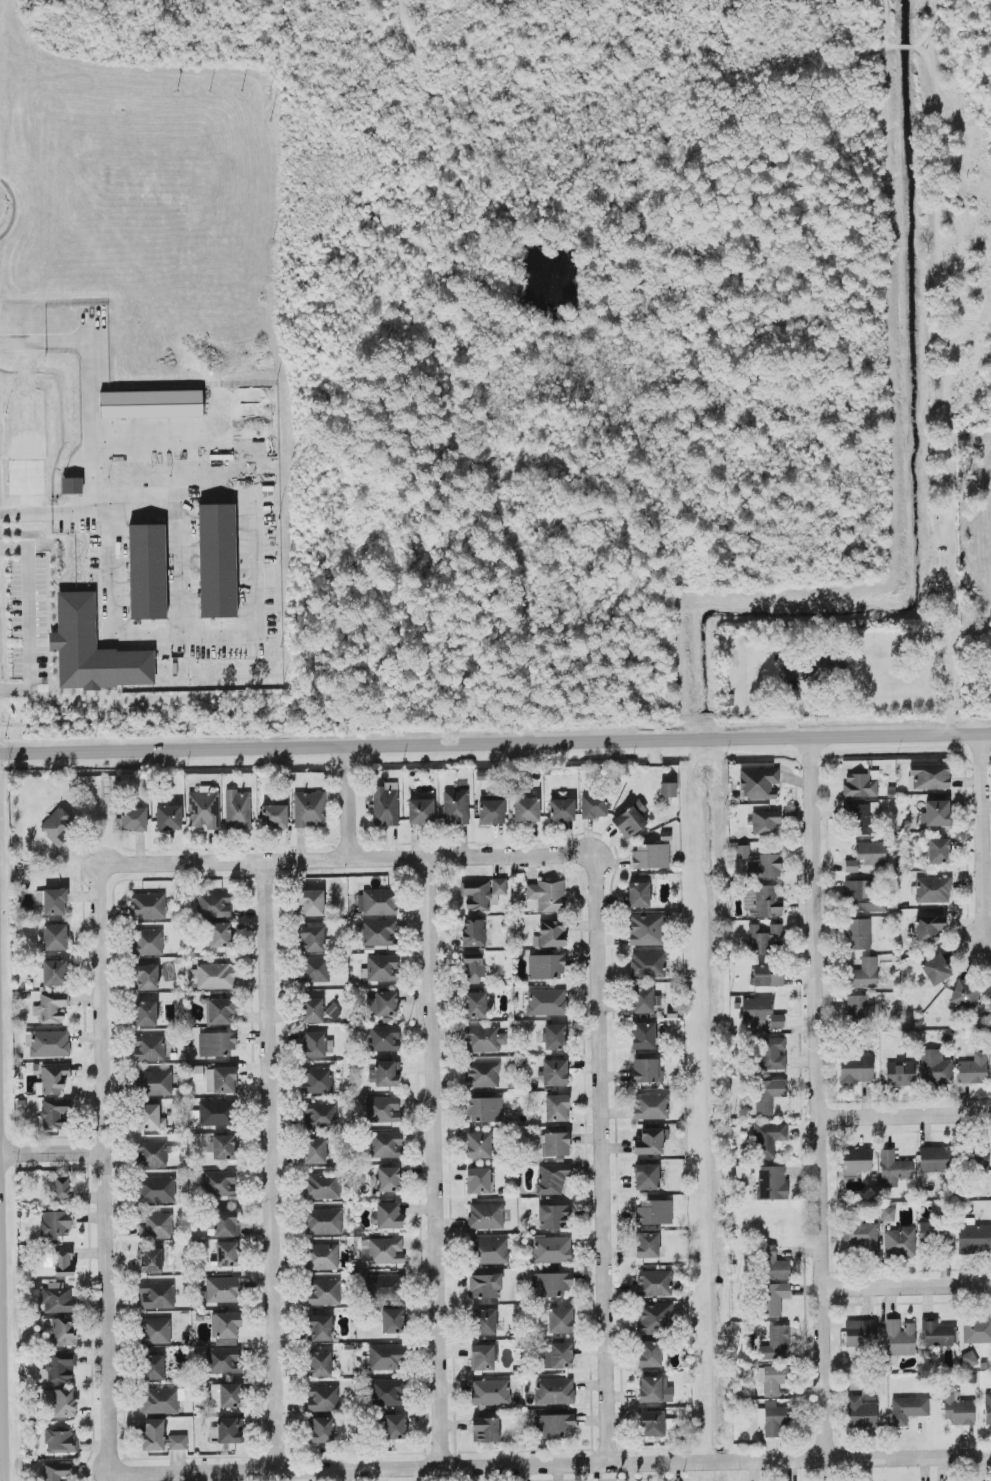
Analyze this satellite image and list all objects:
road: (937, 215)
park: (955, 332)
building: (151, 404)
road: (92, 430)
road: (143, 432)
building: (72, 485)
building: (217, 560)
building: (147, 571)
road: (953, 583)
road: (114, 601)
road: (28, 617)
road: (180, 628)
building: (93, 649)
road: (495, 741)
building: (930, 776)
building: (758, 783)
building: (860, 784)
building: (668, 789)
road: (348, 802)
building: (385, 805)
building: (456, 806)
building: (594, 806)
building: (204, 808)
building: (309, 809)
building: (238, 810)
building: (526, 810)
building: (562, 810)
building: (421, 811)
building: (491, 812)
building: (935, 813)
building: (275, 816)
building: (168, 817)
building: (134, 819)
building: (862, 819)
building: (631, 820)
building: (765, 821)
building: (56, 826)
road: (984, 839)
building: (742, 851)
building: (938, 851)
building: (871, 852)
building: (650, 856)
road: (347, 860)
building: (764, 866)
building: (851, 866)
building: (933, 889)
building: (638, 895)
building: (858, 895)
building: (545, 896)
building: (52, 901)
building: (766, 901)
building: (311, 902)
building: (377, 902)
building: (148, 906)
building: (929, 928)
building: (647, 929)
building: (379, 933)
building: (474, 933)
building: (551, 934)
building: (858, 934)
building: (220, 935)
building: (54, 937)
building: (312, 939)
building: (765, 939)
building: (149, 942)
building: (648, 964)
building: (547, 966)
building: (382, 968)
building: (315, 969)
building: (936, 969)
building: (473, 970)
building: (55, 973)
building: (864, 974)
building: (215, 976)
building: (767, 976)
building: (147, 977)
building: (990, 988)
building: (642, 1001)
building: (989, 1001)
building: (545, 1002)
building: (383, 1004)
building: (475, 1005)
building: (857, 1007)
building: (51, 1009)
building: (312, 1010)
building: (756, 1010)
building: (220, 1011)
building: (333, 1012)
building: (146, 1013)
building: (777, 1021)
building: (643, 1036)
building: (554, 1037)
building: (385, 1038)
building: (483, 1039)
building: (48, 1043)
building: (216, 1044)
building: (317, 1045)
building: (149, 1048)
building: (773, 1053)
building: (935, 1067)
building: (856, 1069)
building: (973, 1069)
building: (646, 1071)
building: (554, 1072)
building: (197, 1073)
building: (899, 1073)
building: (384, 1074)
building: (483, 1074)
building: (53, 1078)
building: (221, 1080)
building: (317, 1080)
building: (155, 1082)
building: (768, 1095)
road: (818, 1097)
building: (651, 1106)
building: (556, 1108)
building: (383, 1109)
building: (484, 1110)
building: (216, 1112)
building: (53, 1114)
building: (321, 1115)
road: (905, 1116)
building: (150, 1117)
building: (767, 1139)
building: (650, 1141)
building: (555, 1144)
building: (387, 1145)
building: (479, 1145)
building: (222, 1147)
building: (315, 1151)
road: (53, 1152)
building: (152, 1154)
building: (934, 1159)
road: (603, 1160)
building: (856, 1161)
road: (435, 1162)
building: (976, 1162)
road: (272, 1166)
building: (893, 1169)
road: (106, 1170)
building: (646, 1177)
building: (552, 1178)
building: (389, 1179)
building: (478, 1180)
building: (219, 1183)
building: (772, 1183)
building: (323, 1186)
building: (59, 1190)
building: (157, 1190)
building: (655, 1212)
building: (887, 1213)
building: (387, 1216)
building: (486, 1216)
building: (553, 1217)
building: (323, 1221)
building: (55, 1223)
building: (224, 1224)
building: (155, 1225)
building: (937, 1236)
building: (974, 1236)
building: (861, 1237)
building: (899, 1242)
building: (647, 1245)
building: (551, 1249)
building: (382, 1250)
building: (490, 1251)
building: (227, 1254)
building: (322, 1256)
building: (149, 1260)
building: (63, 1261)
building: (774, 1264)
building: (654, 1283)
building: (551, 1284)
building: (485, 1286)
building: (385, 1287)
road: (906, 1287)
building: (223, 1289)
building: (325, 1292)
parking lot: (1, 1293)
building: (157, 1295)
building: (58, 1298)
building: (773, 1298)
building: (655, 1318)
building: (560, 1320)
building: (393, 1321)
building: (484, 1322)
building: (226, 1328)
building: (321, 1328)
building: (60, 1330)
building: (156, 1331)
building: (976, 1331)
building: (860, 1333)
building: (937, 1333)
building: (898, 1338)
building: (776, 1344)
road: (4, 1346)
building: (650, 1353)
building: (558, 1356)
building: (386, 1357)
building: (482, 1357)
building: (969, 1358)
building: (224, 1360)
building: (320, 1364)
building: (59, 1367)
building: (153, 1367)
building: (772, 1379)
building: (650, 1389)
building: (555, 1391)
building: (388, 1392)
building: (490, 1392)
building: (226, 1395)
building: (322, 1398)
building: (161, 1401)
building: (62, 1402)
building: (958, 1408)
building: (908, 1409)
building: (987, 1409)
building: (861, 1413)
building: (773, 1418)
building: (652, 1423)
building: (553, 1426)
building: (395, 1427)
building: (322, 1430)
building: (485, 1430)
building: (225, 1432)
building: (153, 1435)
building: (60, 1441)
building: (177, 1442)
road: (908, 1458)
road: (472, 1467)
building: (57, 1471)

